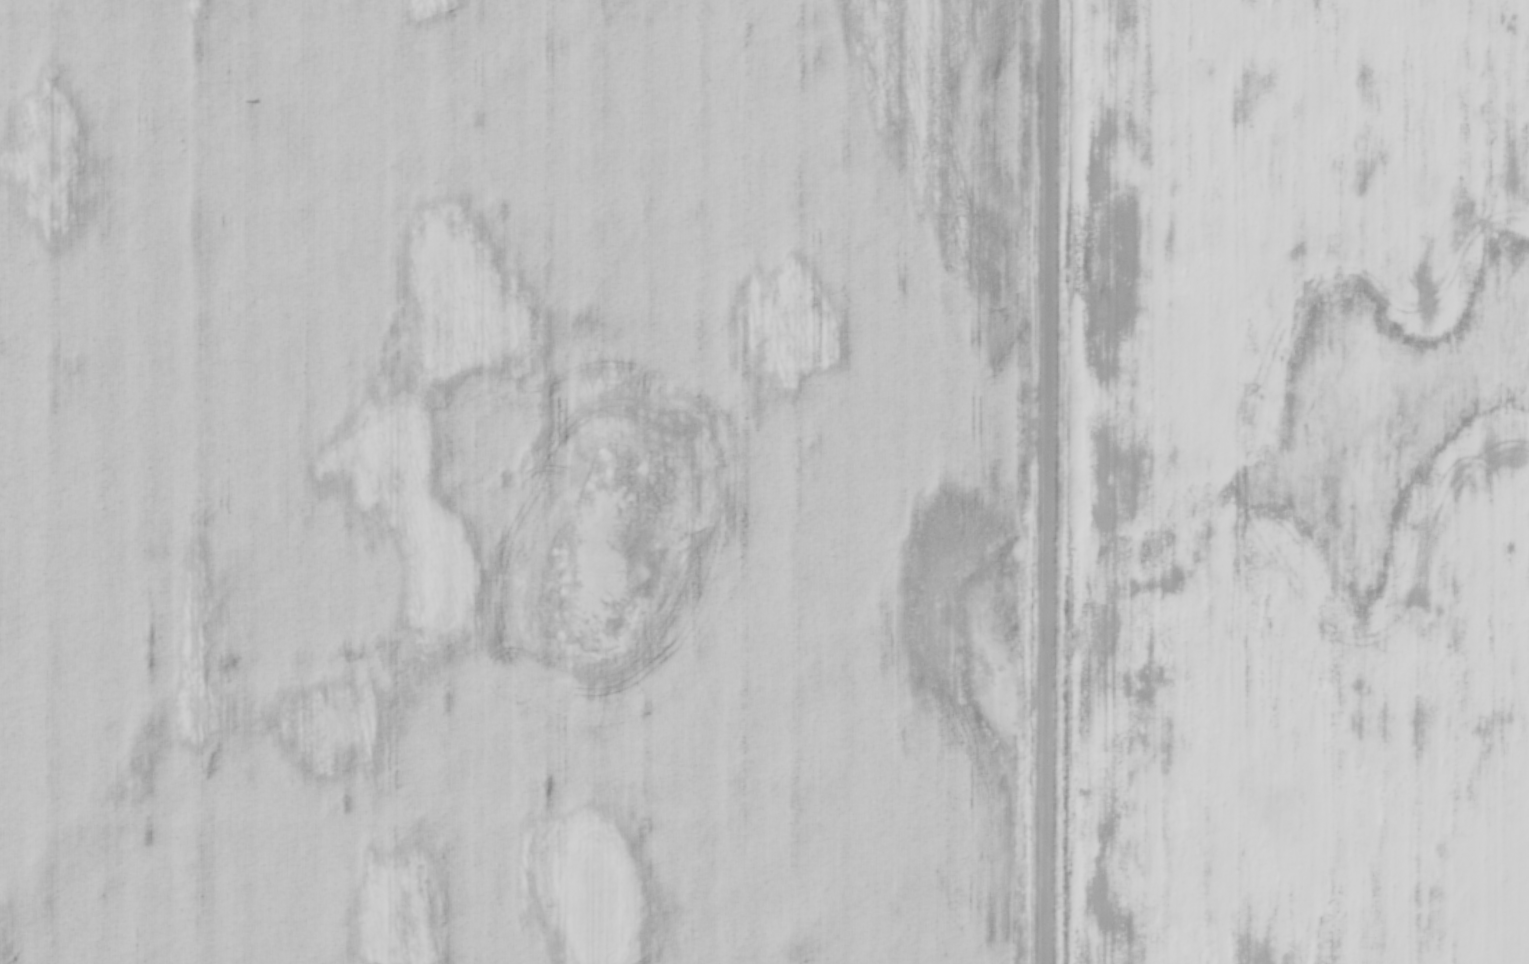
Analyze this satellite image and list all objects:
road: (1049, 482)

